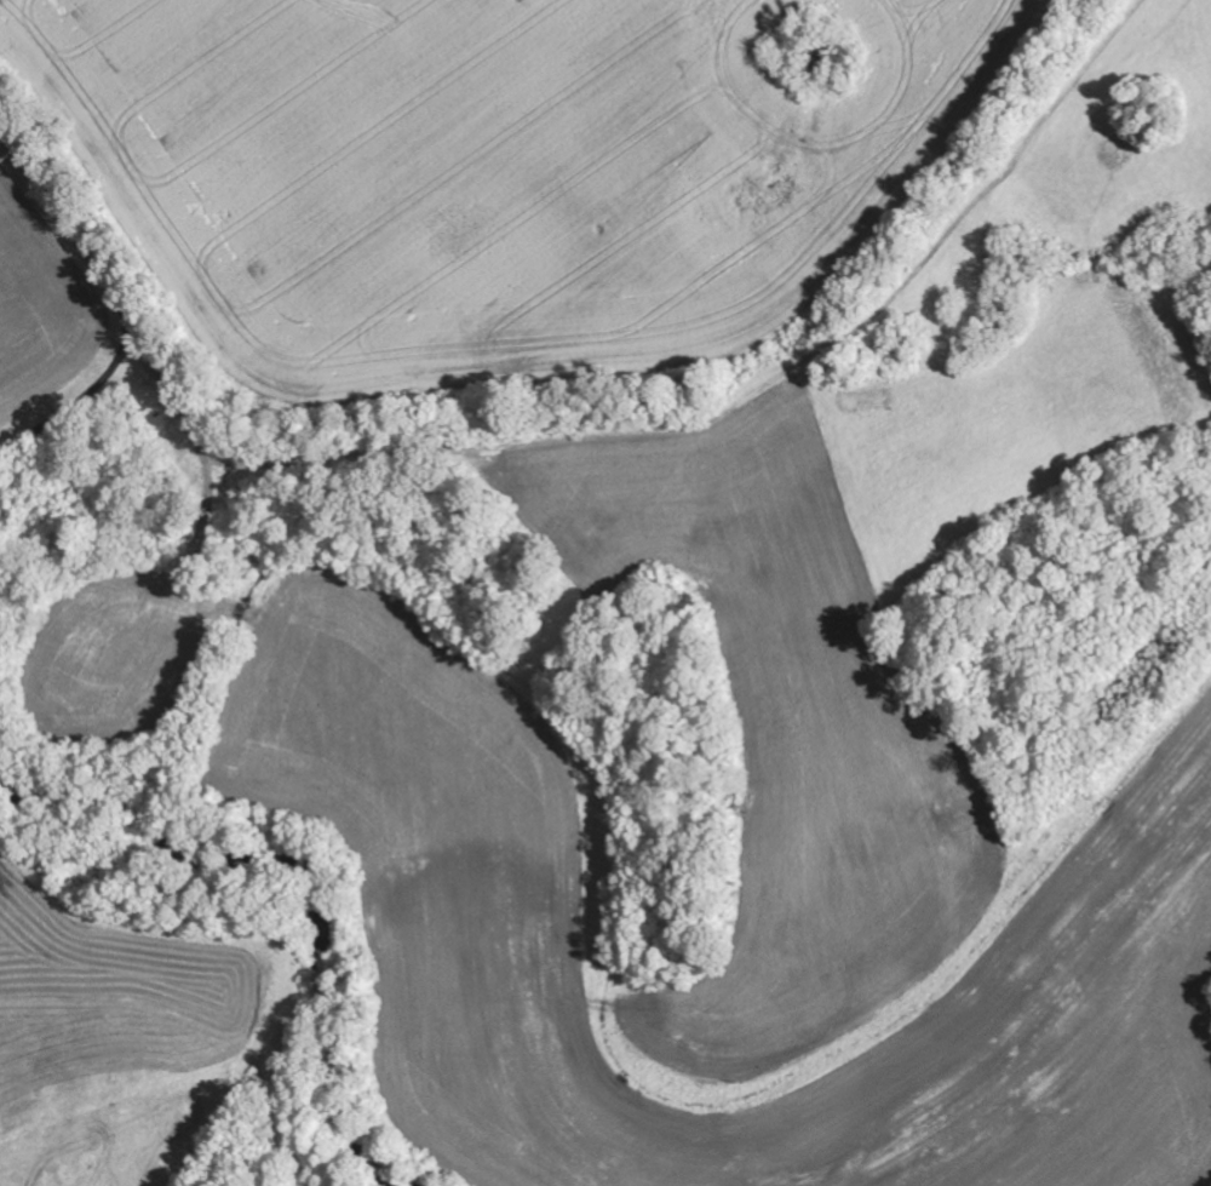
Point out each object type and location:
road: (116, 302)

